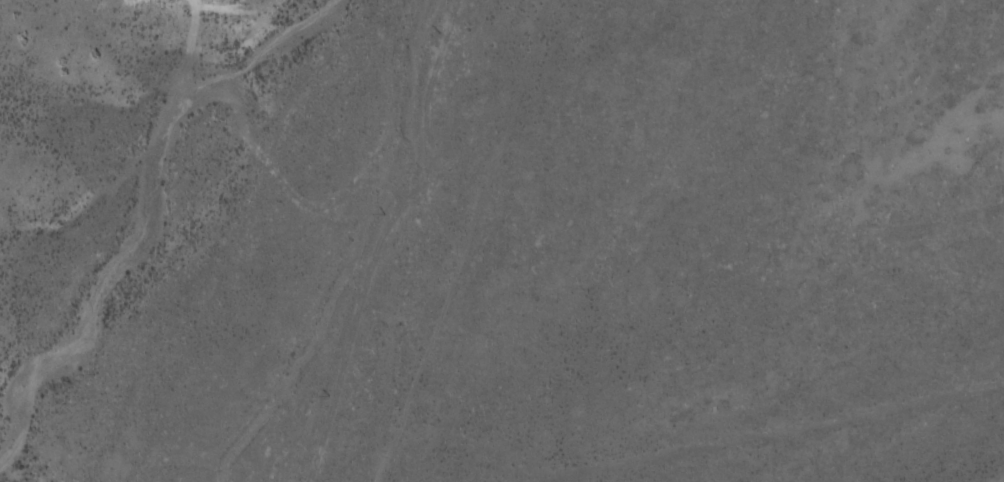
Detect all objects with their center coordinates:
road: (910, 462)

